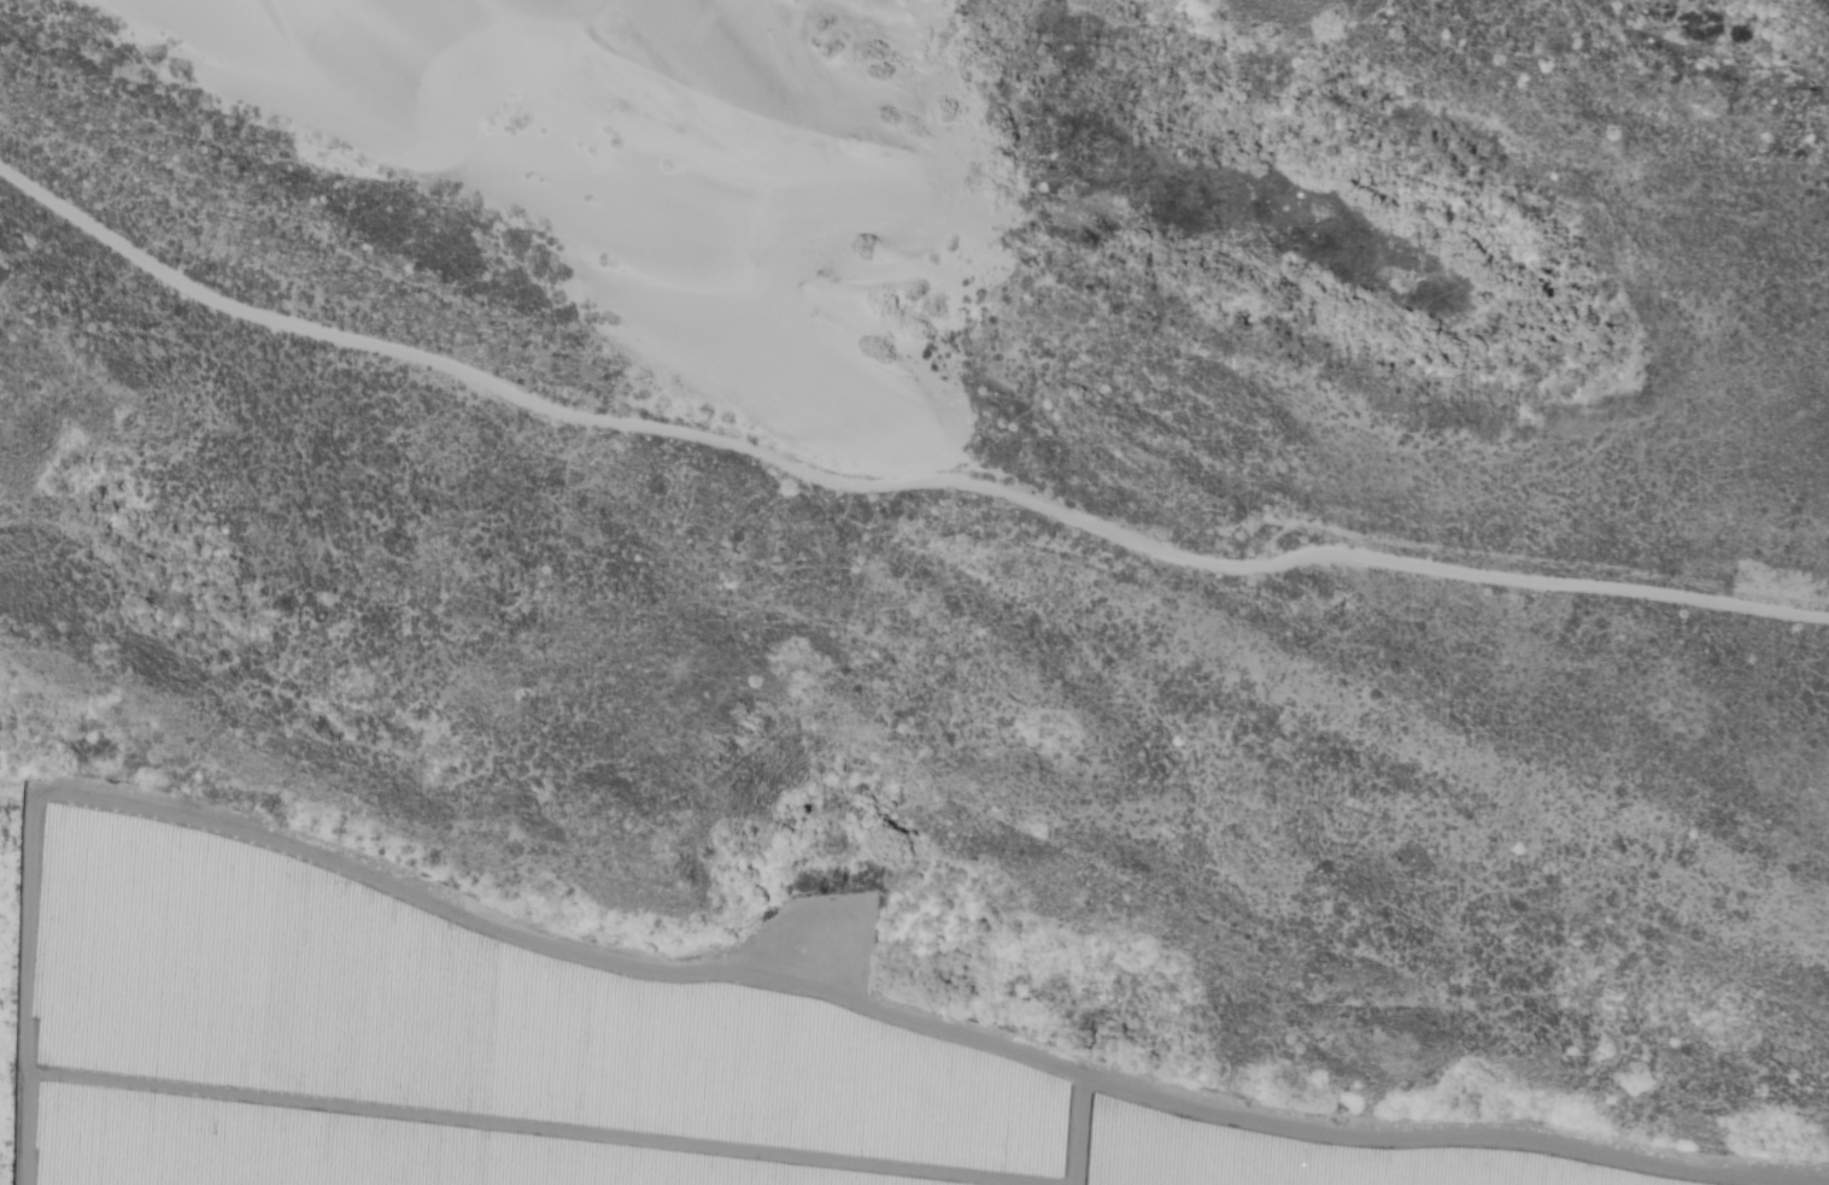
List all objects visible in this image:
road: (891, 483)
park: (974, 508)
crop: (383, 978)
crop: (493, 1136)
crop: (1311, 1156)

